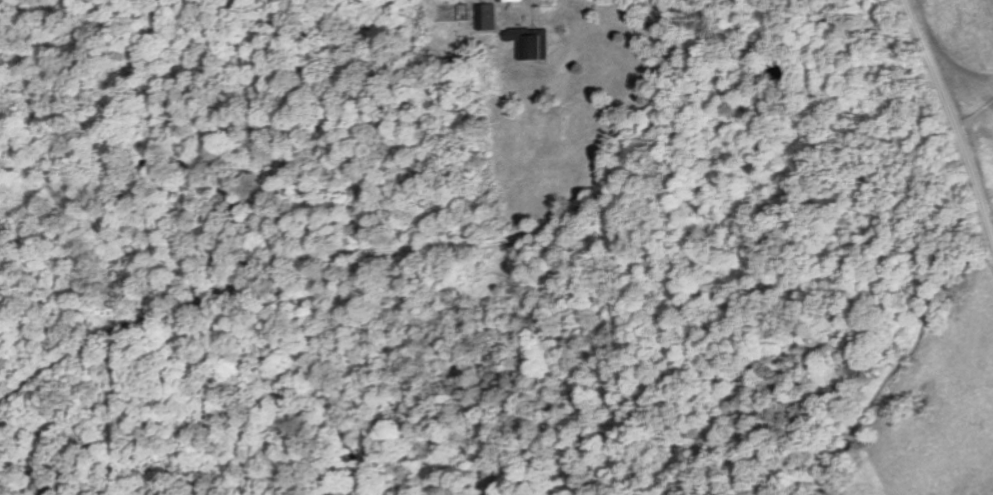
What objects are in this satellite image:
building: (514, 1)
building: (489, 17)
building: (534, 45)
road: (400, 251)

